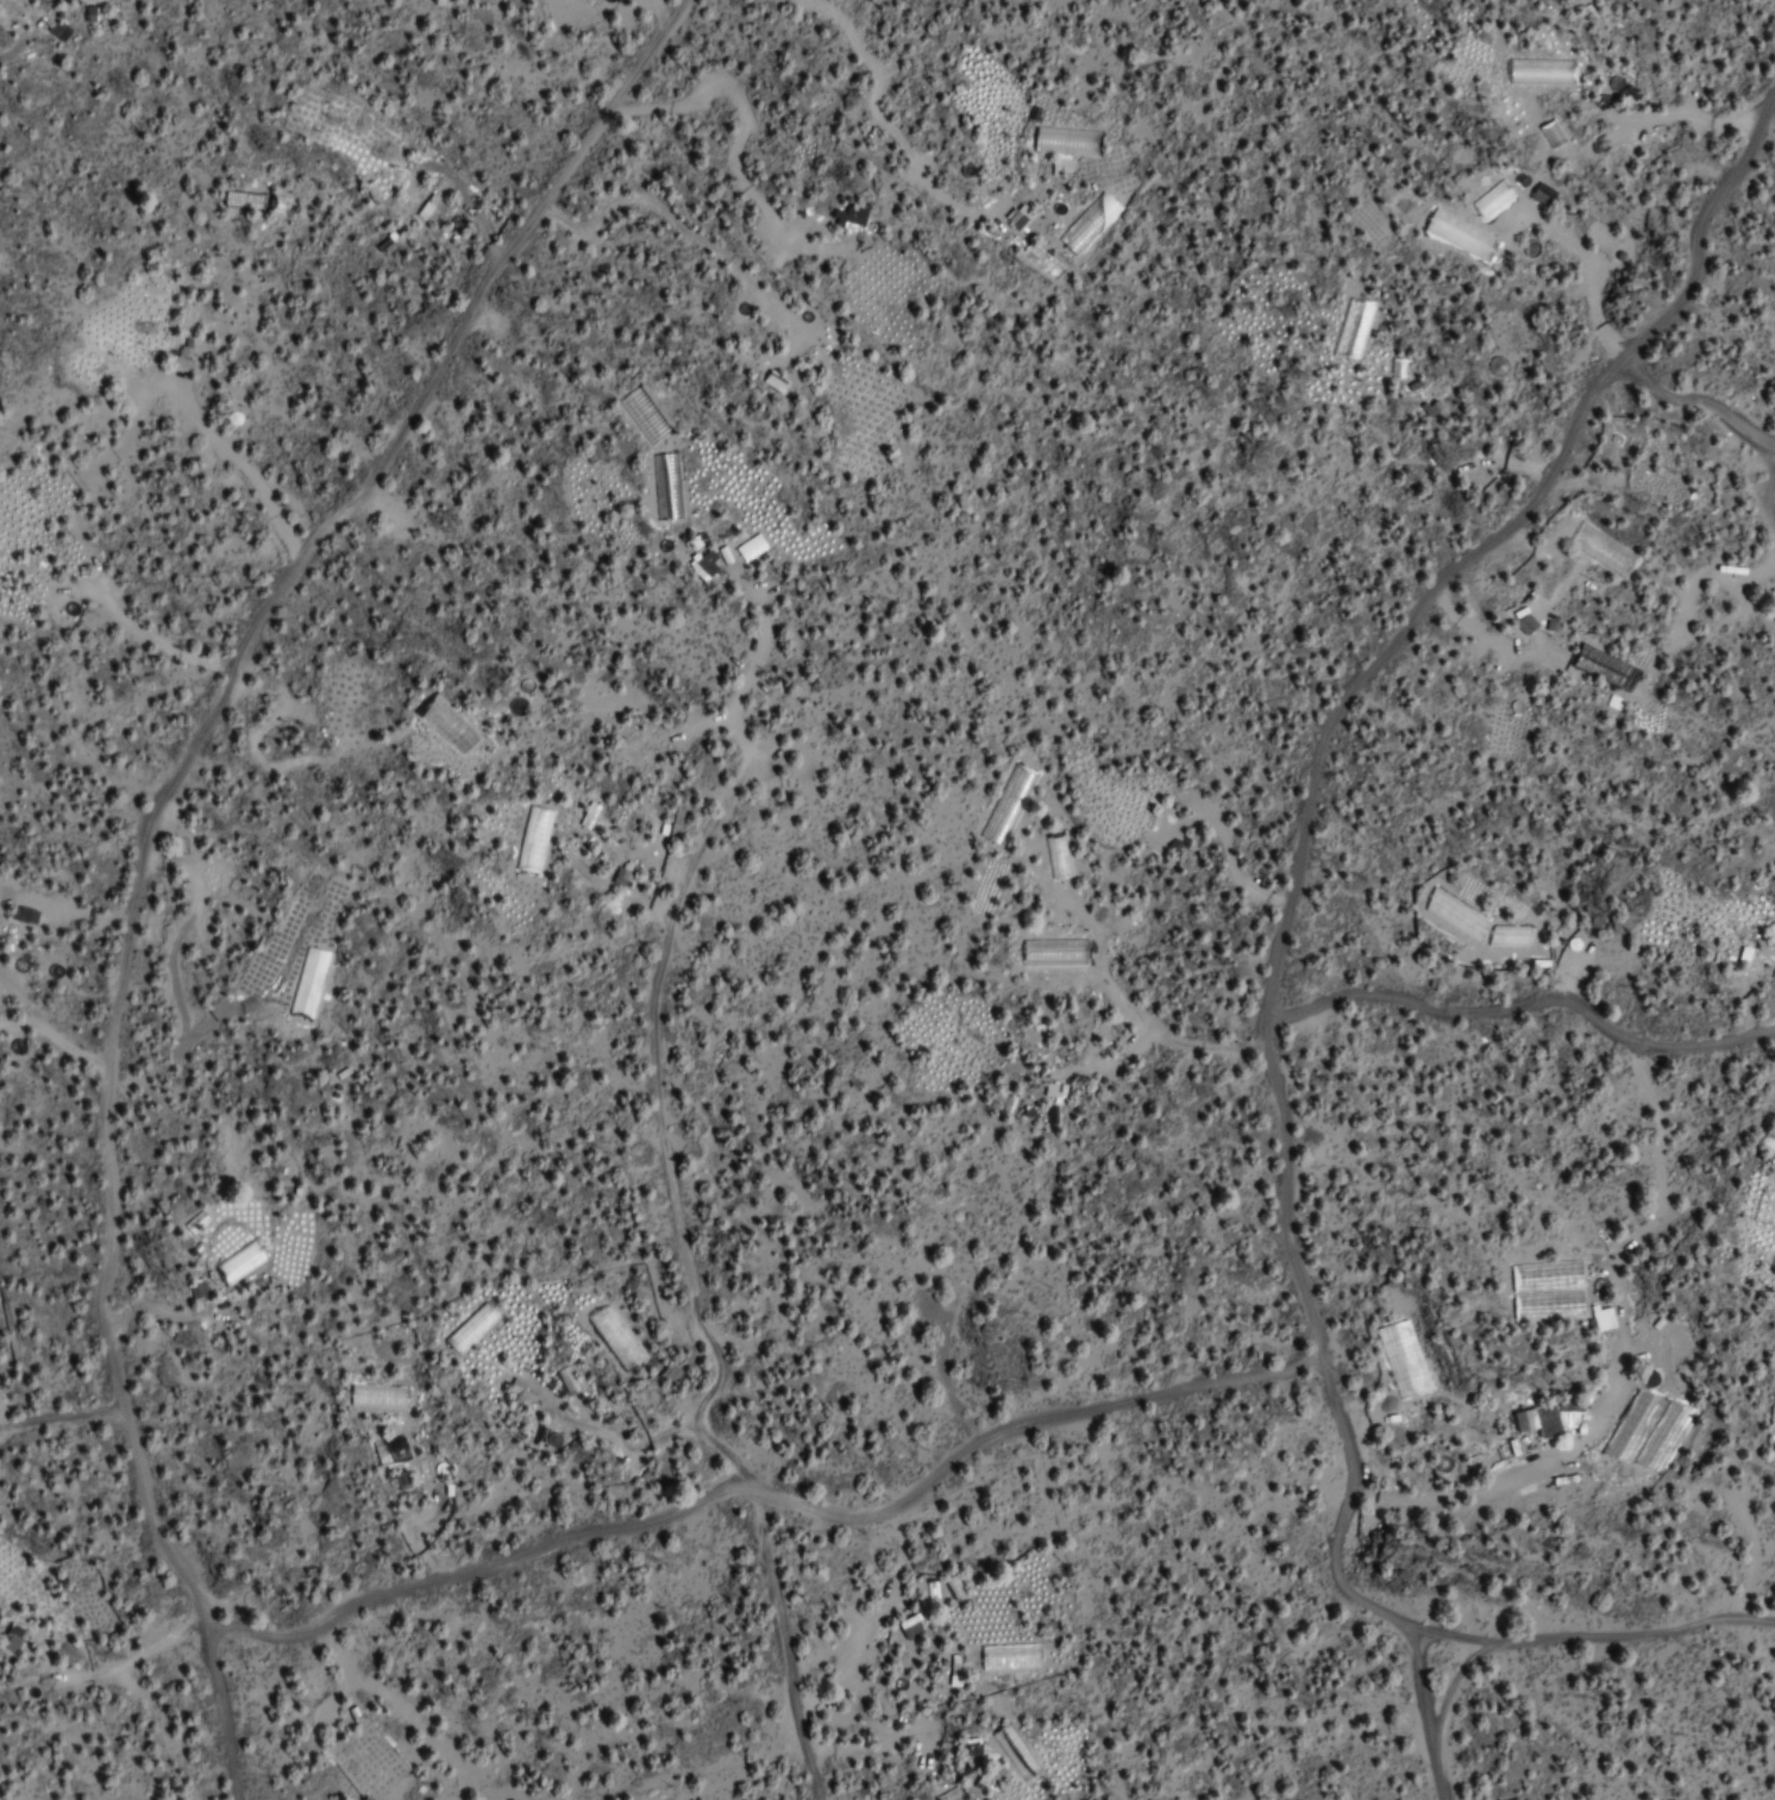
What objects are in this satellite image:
building: (59, 31)
building: (426, 206)
building: (1017, 220)
building: (188, 355)
building: (774, 382)
road: (1696, 404)
road: (1650, 495)
building: (533, 828)
road: (144, 833)
building: (1058, 855)
road: (1286, 885)
building: (1055, 952)
road: (1522, 1002)
building: (1053, 1092)
road: (680, 1282)
building: (196, 1288)
building: (567, 1380)
building: (522, 1393)
building: (378, 1397)
road: (56, 1415)
building: (1520, 1419)
building: (1550, 1420)
building: (390, 1450)
road: (766, 1498)
building: (910, 1626)
road: (1587, 1635)
building: (13, 1638)
building: (973, 1748)
building: (1016, 1751)
building: (981, 1782)
building: (953, 1793)

